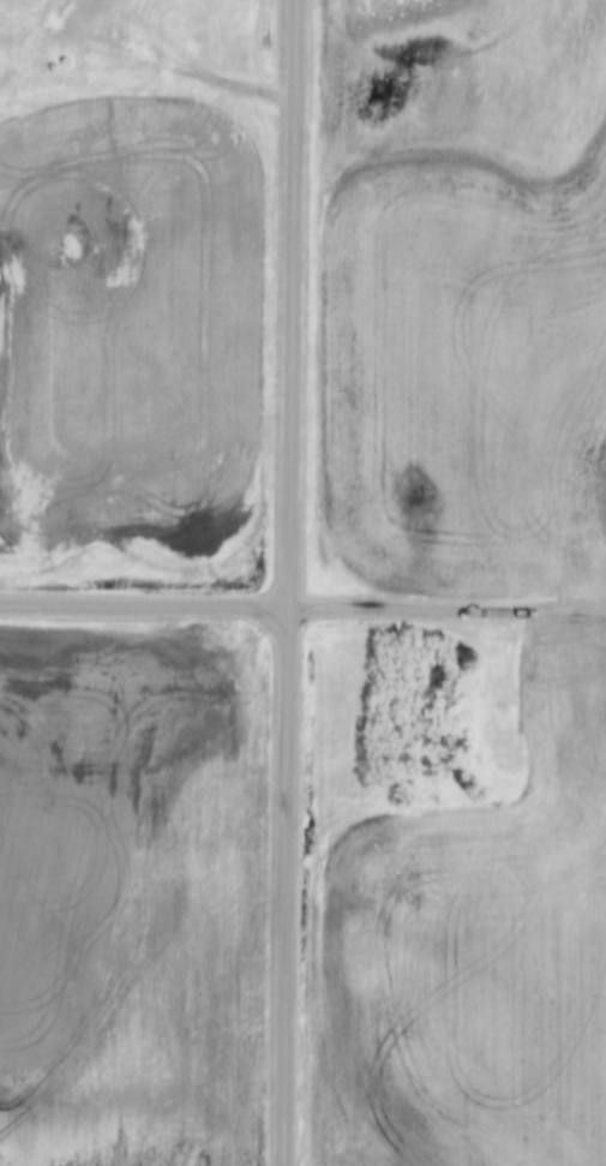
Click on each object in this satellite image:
road: (173, 56)
road: (288, 582)
road: (144, 605)
road: (446, 610)

